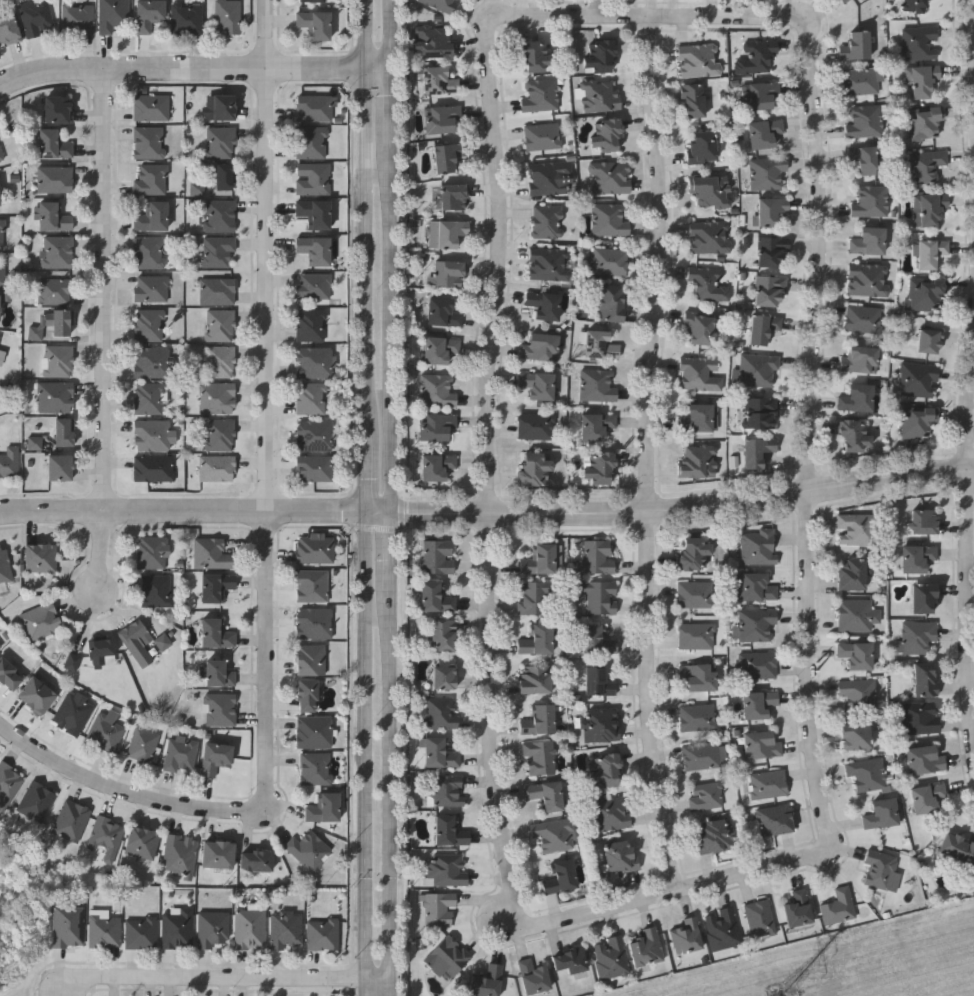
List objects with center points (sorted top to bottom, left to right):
building: (311, 0)
building: (845, 1)
building: (442, 4)
building: (915, 6)
building: (148, 14)
building: (113, 15)
building: (36, 16)
building: (228, 16)
building: (78, 18)
building: (187, 18)
road: (972, 20)
building: (315, 24)
road: (971, 27)
building: (8, 28)
road: (393, 35)
building: (434, 42)
building: (920, 43)
building: (857, 46)
building: (537, 54)
building: (602, 56)
building: (757, 56)
building: (699, 60)
road: (194, 70)
building: (440, 80)
building: (924, 80)
building: (862, 81)
building: (761, 94)
building: (541, 95)
building: (600, 95)
building: (695, 100)
building: (151, 107)
building: (224, 107)
building: (58, 108)
building: (315, 108)
road: (393, 110)
building: (442, 117)
building: (866, 120)
building: (925, 124)
building: (766, 132)
building: (607, 135)
building: (543, 136)
building: (221, 141)
building: (149, 142)
building: (312, 142)
building: (54, 144)
building: (703, 146)
building: (1, 155)
building: (449, 156)
building: (864, 158)
building: (927, 165)
building: (769, 172)
building: (224, 176)
building: (611, 177)
building: (314, 178)
building: (551, 178)
building: (55, 179)
building: (151, 179)
building: (198, 186)
building: (711, 191)
building: (455, 197)
building: (0, 198)
building: (871, 201)
building: (929, 208)
building: (771, 210)
building: (315, 212)
building: (220, 216)
building: (53, 217)
building: (152, 217)
road: (365, 217)
building: (612, 219)
building: (549, 222)
building: (448, 233)
building: (2, 234)
building: (711, 237)
building: (870, 241)
building: (315, 249)
building: (58, 252)
building: (149, 252)
building: (218, 252)
building: (774, 252)
building: (930, 252)
building: (611, 261)
building: (550, 264)
building: (3, 273)
building: (449, 274)
building: (869, 280)
building: (709, 284)
building: (313, 286)
building: (151, 289)
building: (56, 291)
building: (218, 291)
building: (771, 291)
building: (927, 295)
building: (612, 302)
building: (545, 304)
building: (0, 306)
building: (444, 313)
building: (864, 319)
building: (58, 321)
road: (495, 321)
building: (149, 325)
building: (221, 325)
building: (312, 325)
building: (764, 327)
building: (700, 329)
road: (108, 331)
road: (393, 331)
building: (0, 336)
building: (0, 338)
building: (930, 340)
building: (601, 344)
building: (542, 347)
building: (441, 349)
building: (2, 358)
building: (861, 359)
building: (59, 360)
building: (220, 361)
building: (152, 362)
building: (315, 362)
building: (759, 370)
building: (701, 373)
building: (919, 379)
building: (539, 384)
building: (598, 384)
building: (438, 390)
building: (56, 396)
building: (150, 398)
building: (217, 398)
building: (312, 398)
building: (858, 398)
road: (272, 410)
building: (761, 412)
building: (701, 417)
building: (917, 421)
building: (437, 425)
building: (537, 425)
building: (598, 425)
building: (64, 431)
building: (221, 434)
building: (857, 434)
building: (154, 435)
building: (314, 435)
building: (36, 443)
building: (758, 451)
road: (651, 454)
building: (699, 460)
building: (10, 462)
building: (438, 465)
building: (59, 466)
building: (599, 467)
building: (154, 468)
building: (217, 468)
building: (314, 468)
building: (535, 468)
road: (365, 474)
road: (684, 508)
road: (182, 510)
road: (379, 513)
building: (925, 520)
building: (857, 529)
road: (971, 537)
building: (759, 546)
building: (315, 548)
building: (153, 551)
road: (393, 551)
building: (212, 553)
building: (694, 553)
building: (439, 556)
building: (599, 556)
building: (41, 557)
building: (917, 557)
building: (541, 559)
building: (5, 565)
building: (852, 575)
road: (811, 584)
building: (311, 585)
building: (217, 586)
building: (756, 586)
building: (157, 590)
building: (696, 594)
building: (600, 596)
building: (436, 597)
building: (536, 597)
building: (925, 598)
building: (857, 614)
building: (41, 620)
building: (314, 623)
building: (757, 624)
building: (216, 633)
building: (445, 635)
building: (697, 635)
building: (918, 636)
building: (163, 640)
building: (539, 640)
building: (598, 640)
building: (138, 641)
building: (0, 647)
building: (102, 651)
building: (857, 654)
building: (311, 659)
building: (74, 662)
building: (759, 664)
building: (8, 674)
building: (219, 674)
building: (699, 676)
building: (445, 677)
building: (926, 678)
building: (536, 679)
building: (599, 682)
building: (37, 695)
building: (307, 695)
building: (859, 695)
building: (759, 704)
building: (220, 709)
building: (440, 712)
building: (72, 714)
building: (698, 717)
building: (920, 717)
building: (541, 720)
building: (603, 726)
building: (313, 731)
building: (105, 732)
building: (857, 736)
building: (763, 744)
building: (143, 745)
building: (181, 753)
building: (440, 753)
road: (365, 754)
building: (705, 755)
building: (215, 757)
building: (541, 757)
building: (925, 759)
building: (316, 768)
building: (605, 770)
building: (866, 773)
building: (8, 783)
building: (769, 784)
building: (447, 789)
road: (393, 792)
building: (547, 794)
building: (706, 795)
road: (126, 797)
building: (928, 797)
building: (37, 801)
building: (324, 807)
building: (882, 813)
building: (612, 814)
building: (775, 819)
building: (71, 821)
building: (451, 831)
building: (107, 835)
building: (556, 835)
building: (716, 835)
building: (142, 843)
building: (958, 848)
building: (309, 850)
building: (180, 854)
building: (218, 854)
building: (620, 856)
building: (257, 860)
building: (449, 870)
building: (883, 870)
building: (562, 877)
building: (840, 906)
building: (440, 909)
building: (799, 910)
building: (761, 918)
building: (68, 926)
building: (178, 928)
building: (724, 928)
building: (214, 929)
building: (104, 930)
building: (251, 930)
building: (286, 930)
building: (141, 933)
building: (323, 934)
building: (688, 937)
building: (647, 947)
building: (612, 957)
building: (448, 958)
building: (572, 960)
building: (534, 976)
road: (227, 978)
building: (488, 982)
power tower: (786, 991)

